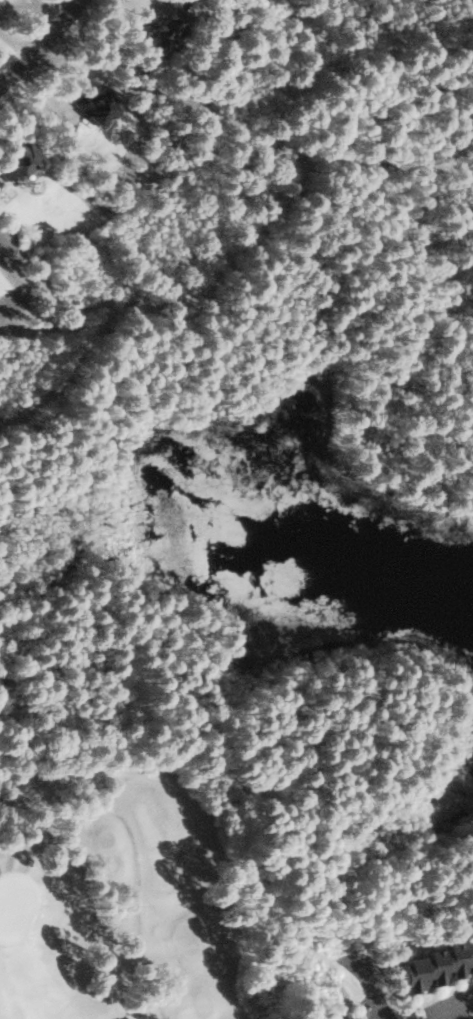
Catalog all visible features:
building: (169, 31)
road: (39, 43)
building: (98, 103)
building: (22, 160)
park: (254, 447)
road: (81, 501)
road: (51, 674)
road: (452, 791)
road: (140, 853)
road: (136, 854)
park: (109, 892)
building: (437, 965)
road: (372, 993)
road: (460, 1013)
building: (344, 1017)

